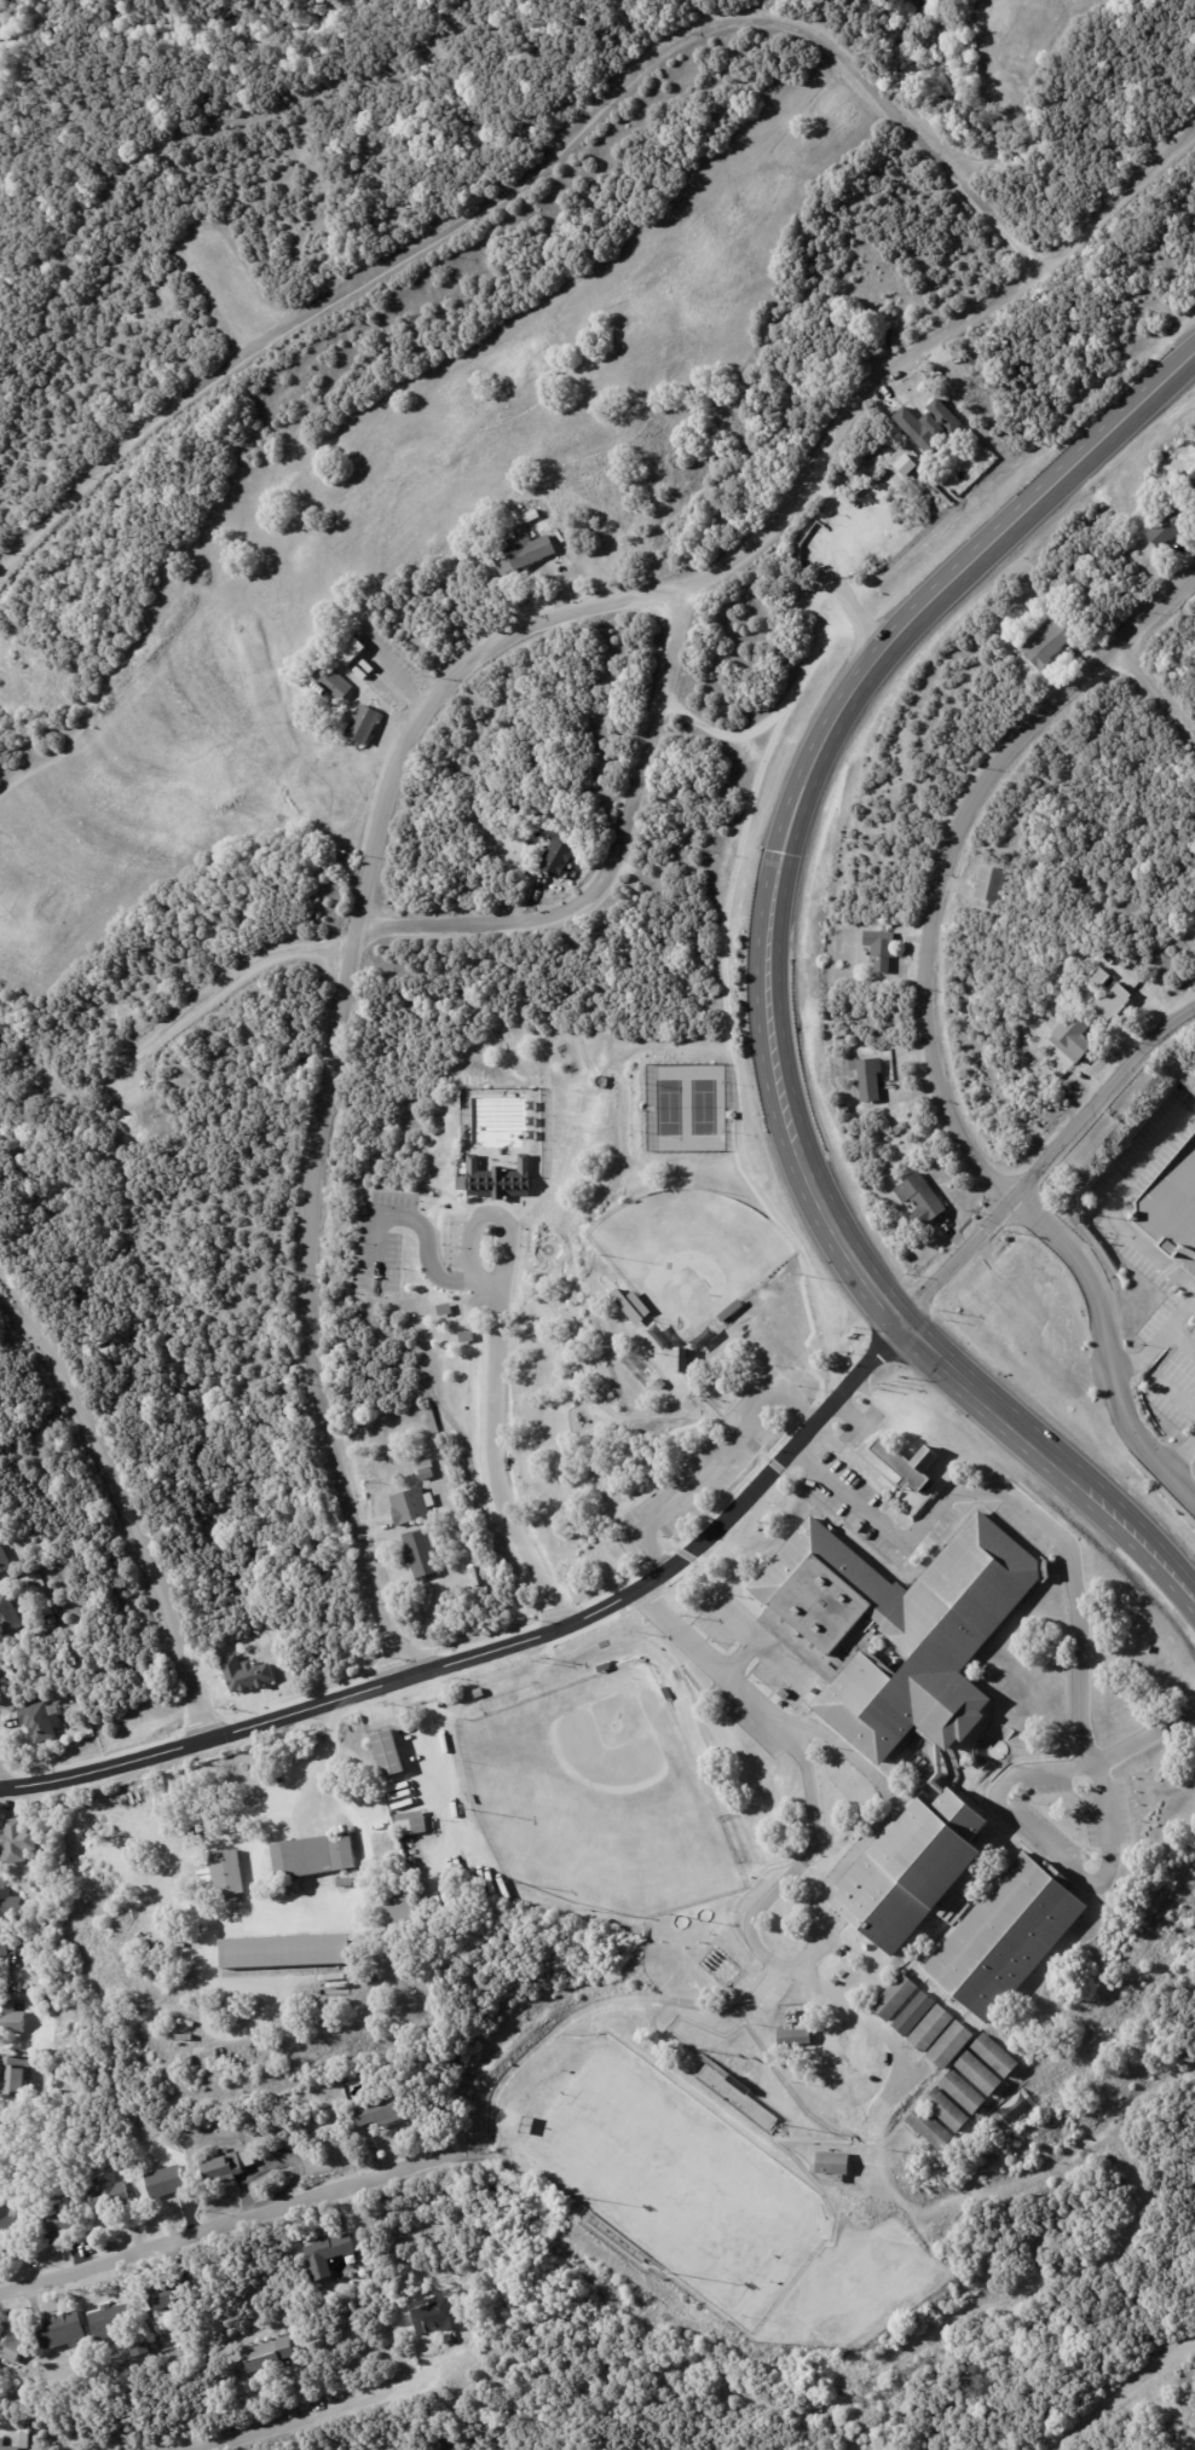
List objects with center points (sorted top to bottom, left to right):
road: (539, 156)
road: (219, 279)
road: (1178, 371)
building: (930, 427)
building: (904, 463)
building: (1193, 478)
building: (1172, 526)
building: (602, 533)
road: (844, 543)
building: (525, 551)
road: (864, 637)
building: (1050, 643)
building: (330, 682)
road: (1154, 693)
road: (421, 713)
building: (364, 723)
road: (772, 723)
road: (952, 851)
building: (556, 853)
road: (610, 856)
building: (997, 882)
building: (884, 947)
building: (1098, 975)
road: (221, 989)
road: (766, 1001)
building: (1109, 1001)
building: (1075, 1033)
building: (868, 1073)
road: (1099, 1098)
park: (692, 1108)
building: (847, 1109)
building: (732, 1115)
road: (502, 1163)
building: (501, 1179)
road: (502, 1183)
road: (1102, 1188)
building: (885, 1189)
road: (449, 1192)
building: (923, 1192)
building: (1174, 1203)
building: (897, 1204)
road: (501, 1206)
road: (421, 1224)
parking lot: (382, 1240)
parking lot: (464, 1243)
park: (692, 1254)
building: (640, 1304)
building: (445, 1308)
building: (731, 1310)
building: (803, 1314)
building: (467, 1336)
road: (1108, 1339)
road: (1159, 1342)
building: (682, 1360)
road: (496, 1383)
building: (660, 1385)
road: (1184, 1454)
road: (717, 1463)
building: (425, 1466)
building: (910, 1466)
road: (125, 1503)
building: (410, 1506)
building: (461, 1531)
road: (1066, 1543)
building: (421, 1555)
building: (1, 1566)
building: (8, 1614)
building: (52, 1619)
road: (583, 1620)
building: (902, 1634)
road: (758, 1642)
building: (643, 1658)
road: (783, 1663)
building: (604, 1666)
building: (244, 1672)
building: (479, 1692)
building: (668, 1692)
building: (785, 1692)
building: (444, 1700)
building: (39, 1721)
building: (388, 1752)
road: (324, 1762)
park: (594, 1809)
building: (414, 1822)
road: (874, 1830)
building: (13, 1841)
road: (814, 1845)
building: (314, 1853)
building: (912, 1871)
building: (227, 1873)
building: (345, 1880)
building: (37, 1883)
building: (403, 1906)
building: (191, 1907)
building: (7, 1918)
building: (1009, 1941)
building: (284, 1951)
building: (896, 2001)
building: (10, 2016)
building: (913, 2018)
building: (931, 2033)
building: (795, 2036)
building: (951, 2050)
building: (997, 2061)
building: (12, 2074)
building: (980, 2078)
building: (963, 2097)
building: (379, 2113)
building: (1015, 2113)
building: (946, 2116)
building: (2, 2132)
building: (930, 2134)
building: (42, 2161)
building: (835, 2163)
building: (197, 2173)
park: (666, 2178)
building: (108, 2194)
building: (7, 2217)
building: (54, 2220)
road: (198, 2225)
building: (328, 2253)
building: (163, 2298)
building: (104, 2323)
building: (63, 2330)
building: (248, 2338)
building: (206, 2340)
building: (11, 2341)
building: (140, 2346)
building: (269, 2354)
road: (1125, 2397)
road: (298, 2419)
building: (24, 2439)
building: (1, 2442)

